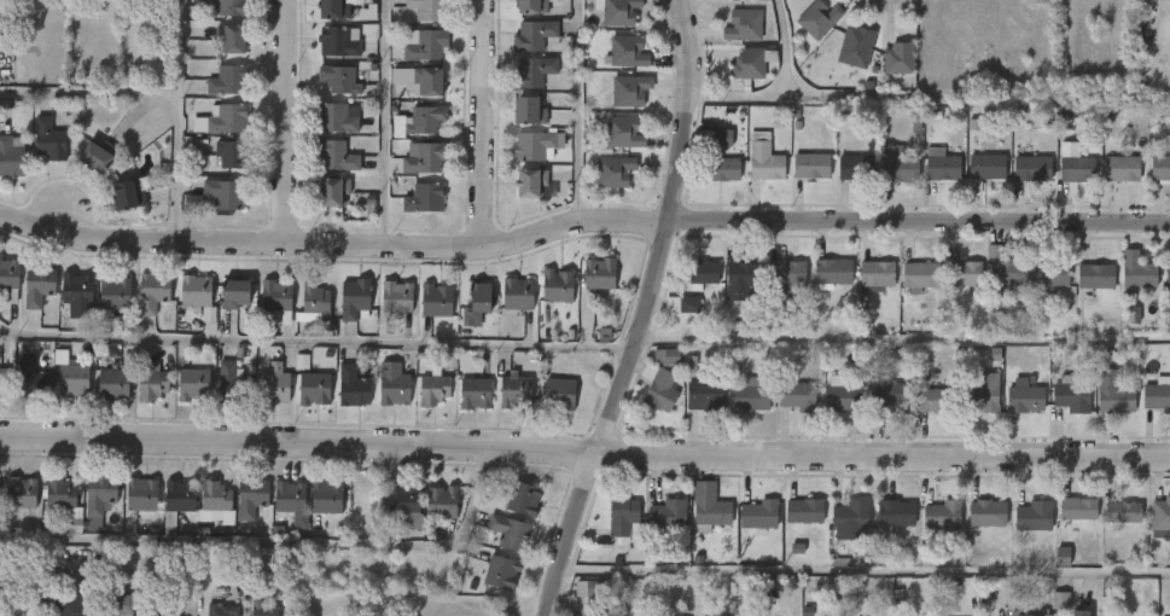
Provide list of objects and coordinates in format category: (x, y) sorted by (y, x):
building: (17, 5)
building: (531, 6)
building: (233, 7)
building: (332, 8)
building: (427, 8)
building: (621, 11)
building: (815, 18)
building: (744, 25)
building: (532, 35)
building: (232, 39)
building: (337, 41)
building: (852, 45)
building: (426, 46)
road: (175, 47)
building: (630, 51)
building: (895, 57)
building: (749, 62)
building: (532, 72)
building: (339, 79)
building: (228, 80)
building: (425, 81)
building: (631, 89)
road: (779, 93)
road: (161, 95)
road: (686, 110)
building: (528, 111)
road: (577, 112)
building: (424, 118)
building: (226, 120)
building: (334, 120)
road: (285, 122)
road: (383, 122)
road: (485, 123)
building: (627, 132)
building: (722, 138)
building: (47, 139)
building: (537, 145)
building: (229, 155)
building: (11, 156)
building: (94, 157)
building: (336, 157)
building: (425, 158)
building: (763, 158)
building: (941, 164)
building: (1075, 164)
building: (810, 165)
building: (896, 165)
building: (855, 168)
building: (1122, 168)
building: (1160, 168)
building: (724, 169)
building: (1031, 169)
building: (617, 170)
building: (983, 170)
building: (532, 185)
building: (330, 191)
building: (128, 193)
building: (227, 193)
building: (424, 198)
road: (919, 221)
road: (333, 244)
building: (828, 272)
building: (698, 273)
building: (873, 273)
building: (1006, 273)
building: (1166, 273)
building: (599, 274)
building: (1136, 274)
building: (782, 275)
building: (916, 275)
building: (1092, 275)
building: (1048, 277)
building: (739, 278)
building: (959, 278)
building: (8, 279)
building: (39, 285)
building: (557, 286)
building: (194, 291)
building: (76, 292)
building: (113, 292)
building: (151, 292)
building: (233, 295)
building: (518, 295)
building: (274, 297)
building: (396, 297)
building: (314, 300)
building: (353, 300)
building: (436, 300)
building: (680, 303)
building: (475, 304)
building: (283, 318)
road: (314, 339)
road: (902, 341)
building: (667, 356)
building: (29, 377)
building: (71, 380)
building: (151, 380)
building: (2, 382)
building: (112, 383)
building: (192, 384)
building: (232, 384)
building: (272, 384)
building: (394, 384)
building: (350, 385)
building: (314, 388)
building: (433, 388)
building: (662, 388)
building: (514, 389)
building: (559, 391)
building: (976, 391)
building: (475, 393)
building: (1111, 393)
building: (750, 394)
building: (1069, 394)
building: (705, 395)
building: (797, 395)
building: (1156, 395)
building: (840, 396)
building: (887, 396)
building: (1020, 397)
building: (931, 400)
road: (606, 418)
road: (584, 449)
building: (19, 490)
building: (98, 492)
building: (141, 493)
building: (177, 494)
building: (249, 495)
building: (325, 495)
building: (62, 499)
building: (528, 499)
building: (291, 501)
building: (216, 502)
building: (443, 502)
building: (408, 504)
building: (709, 506)
building: (1075, 510)
building: (801, 511)
building: (1119, 511)
building: (892, 513)
building: (983, 513)
building: (759, 515)
building: (848, 515)
building: (938, 515)
building: (1030, 515)
building: (1159, 515)
building: (624, 516)
building: (667, 516)
building: (512, 531)
building: (1063, 557)
building: (502, 571)
road: (862, 571)
building: (40, 586)
building: (587, 589)
building: (1060, 600)
building: (123, 605)
building: (74, 606)
building: (264, 609)
building: (223, 610)
building: (1081, 611)
building: (168, 612)
building: (1042, 612)
building: (605, 614)
building: (722, 615)

